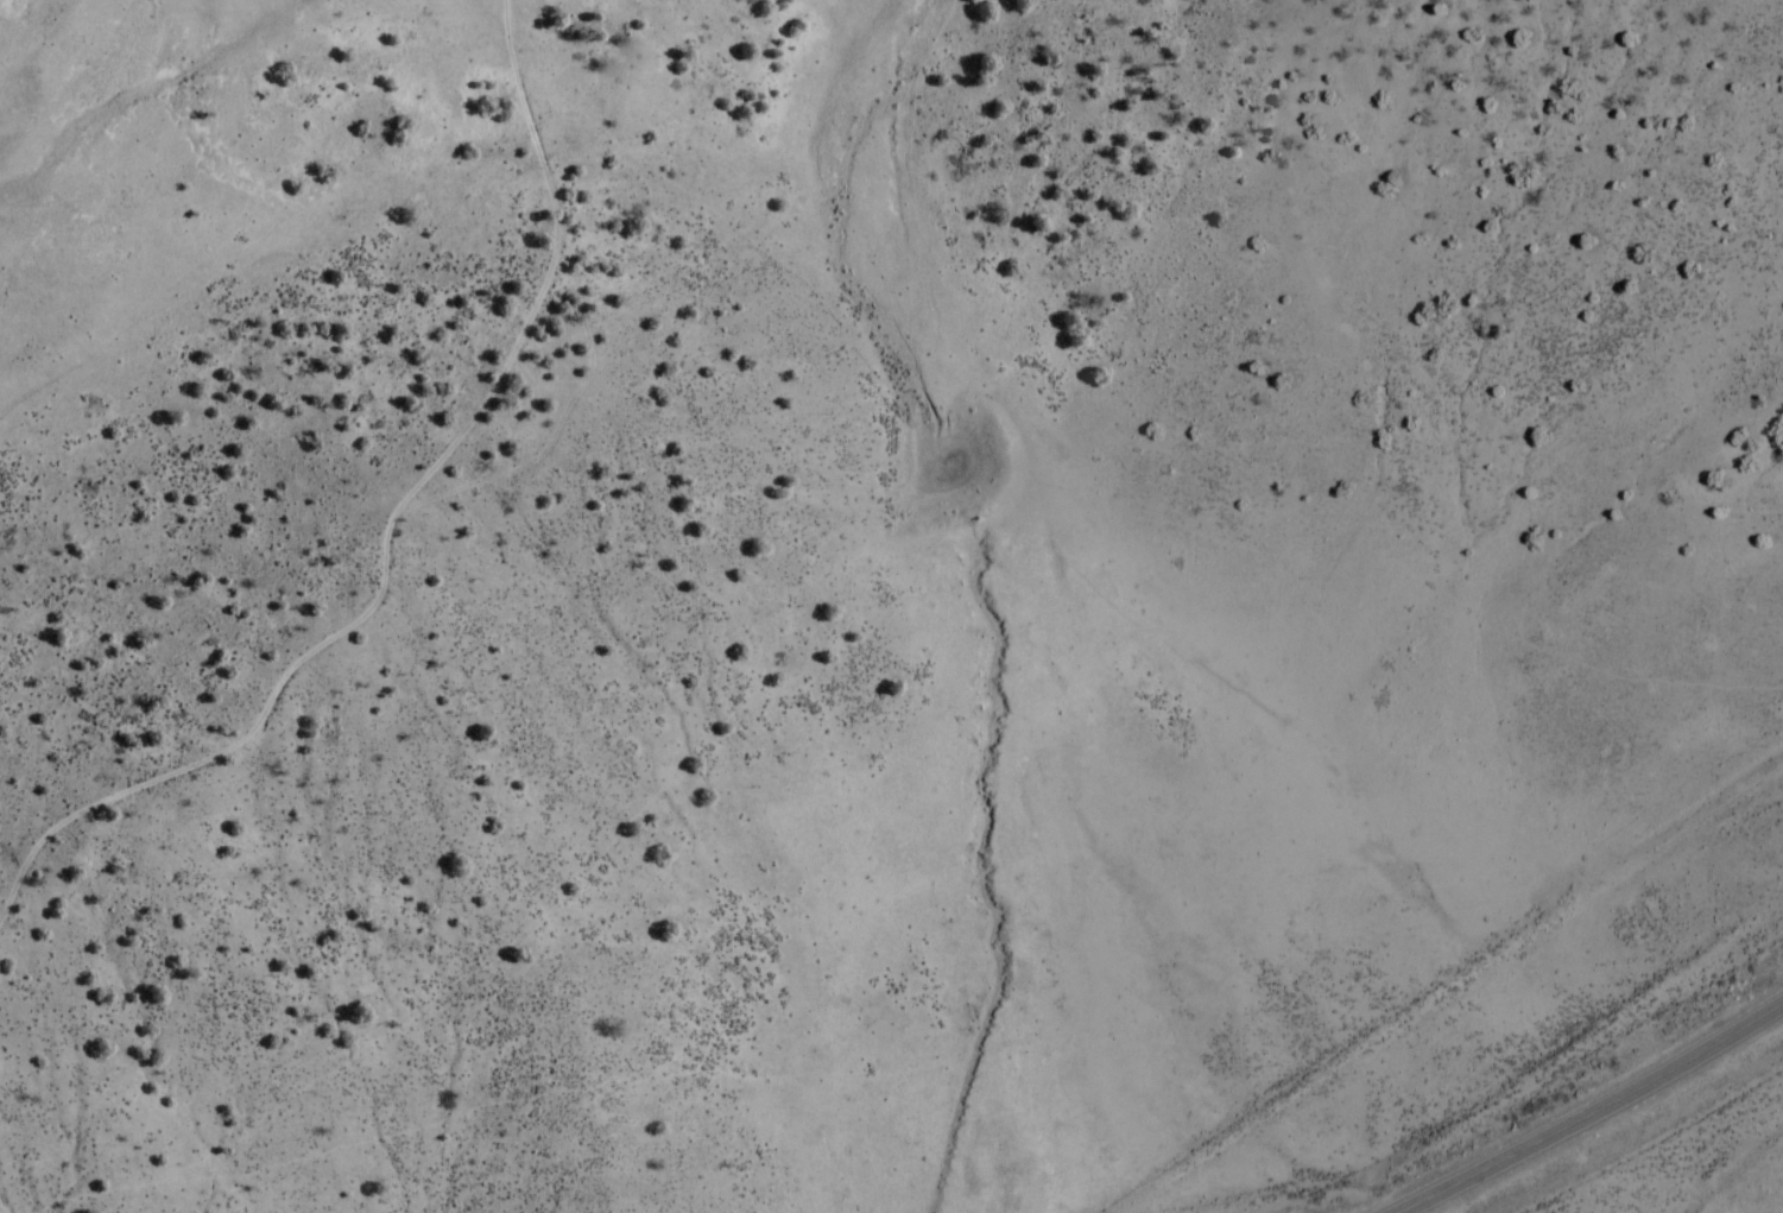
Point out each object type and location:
road: (1589, 1108)

